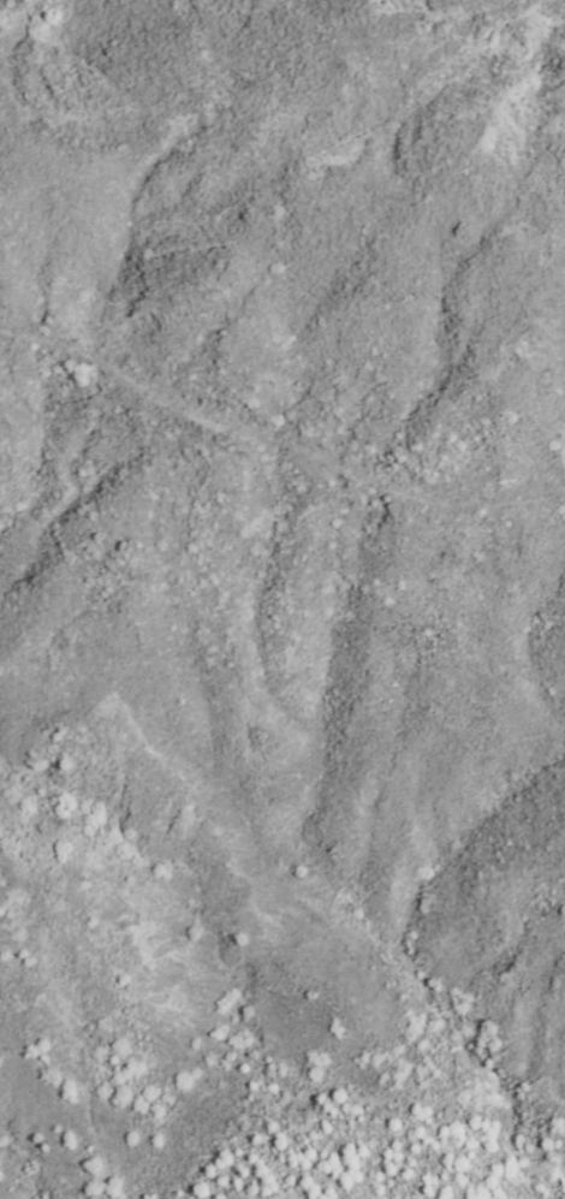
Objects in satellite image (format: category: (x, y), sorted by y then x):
road: (28, 24)

